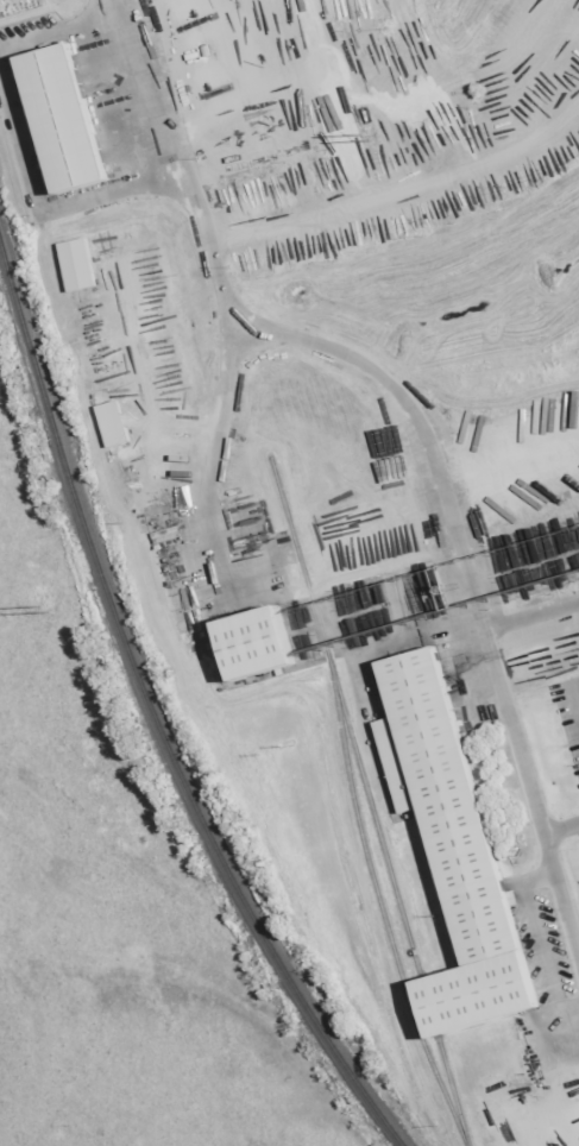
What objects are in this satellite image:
road: (525, 59)
road: (558, 62)
road: (290, 96)
road: (566, 115)
building: (62, 119)
road: (383, 122)
power tower: (361, 137)
road: (383, 191)
building: (81, 264)
road: (143, 386)
road: (416, 421)
building: (117, 423)
road: (216, 446)
road: (509, 456)
power tower: (42, 607)
road: (533, 617)
building: (254, 647)
railway: (341, 711)
railway: (152, 716)
road: (561, 830)
building: (453, 852)
railway: (375, 893)
railway: (452, 1094)

